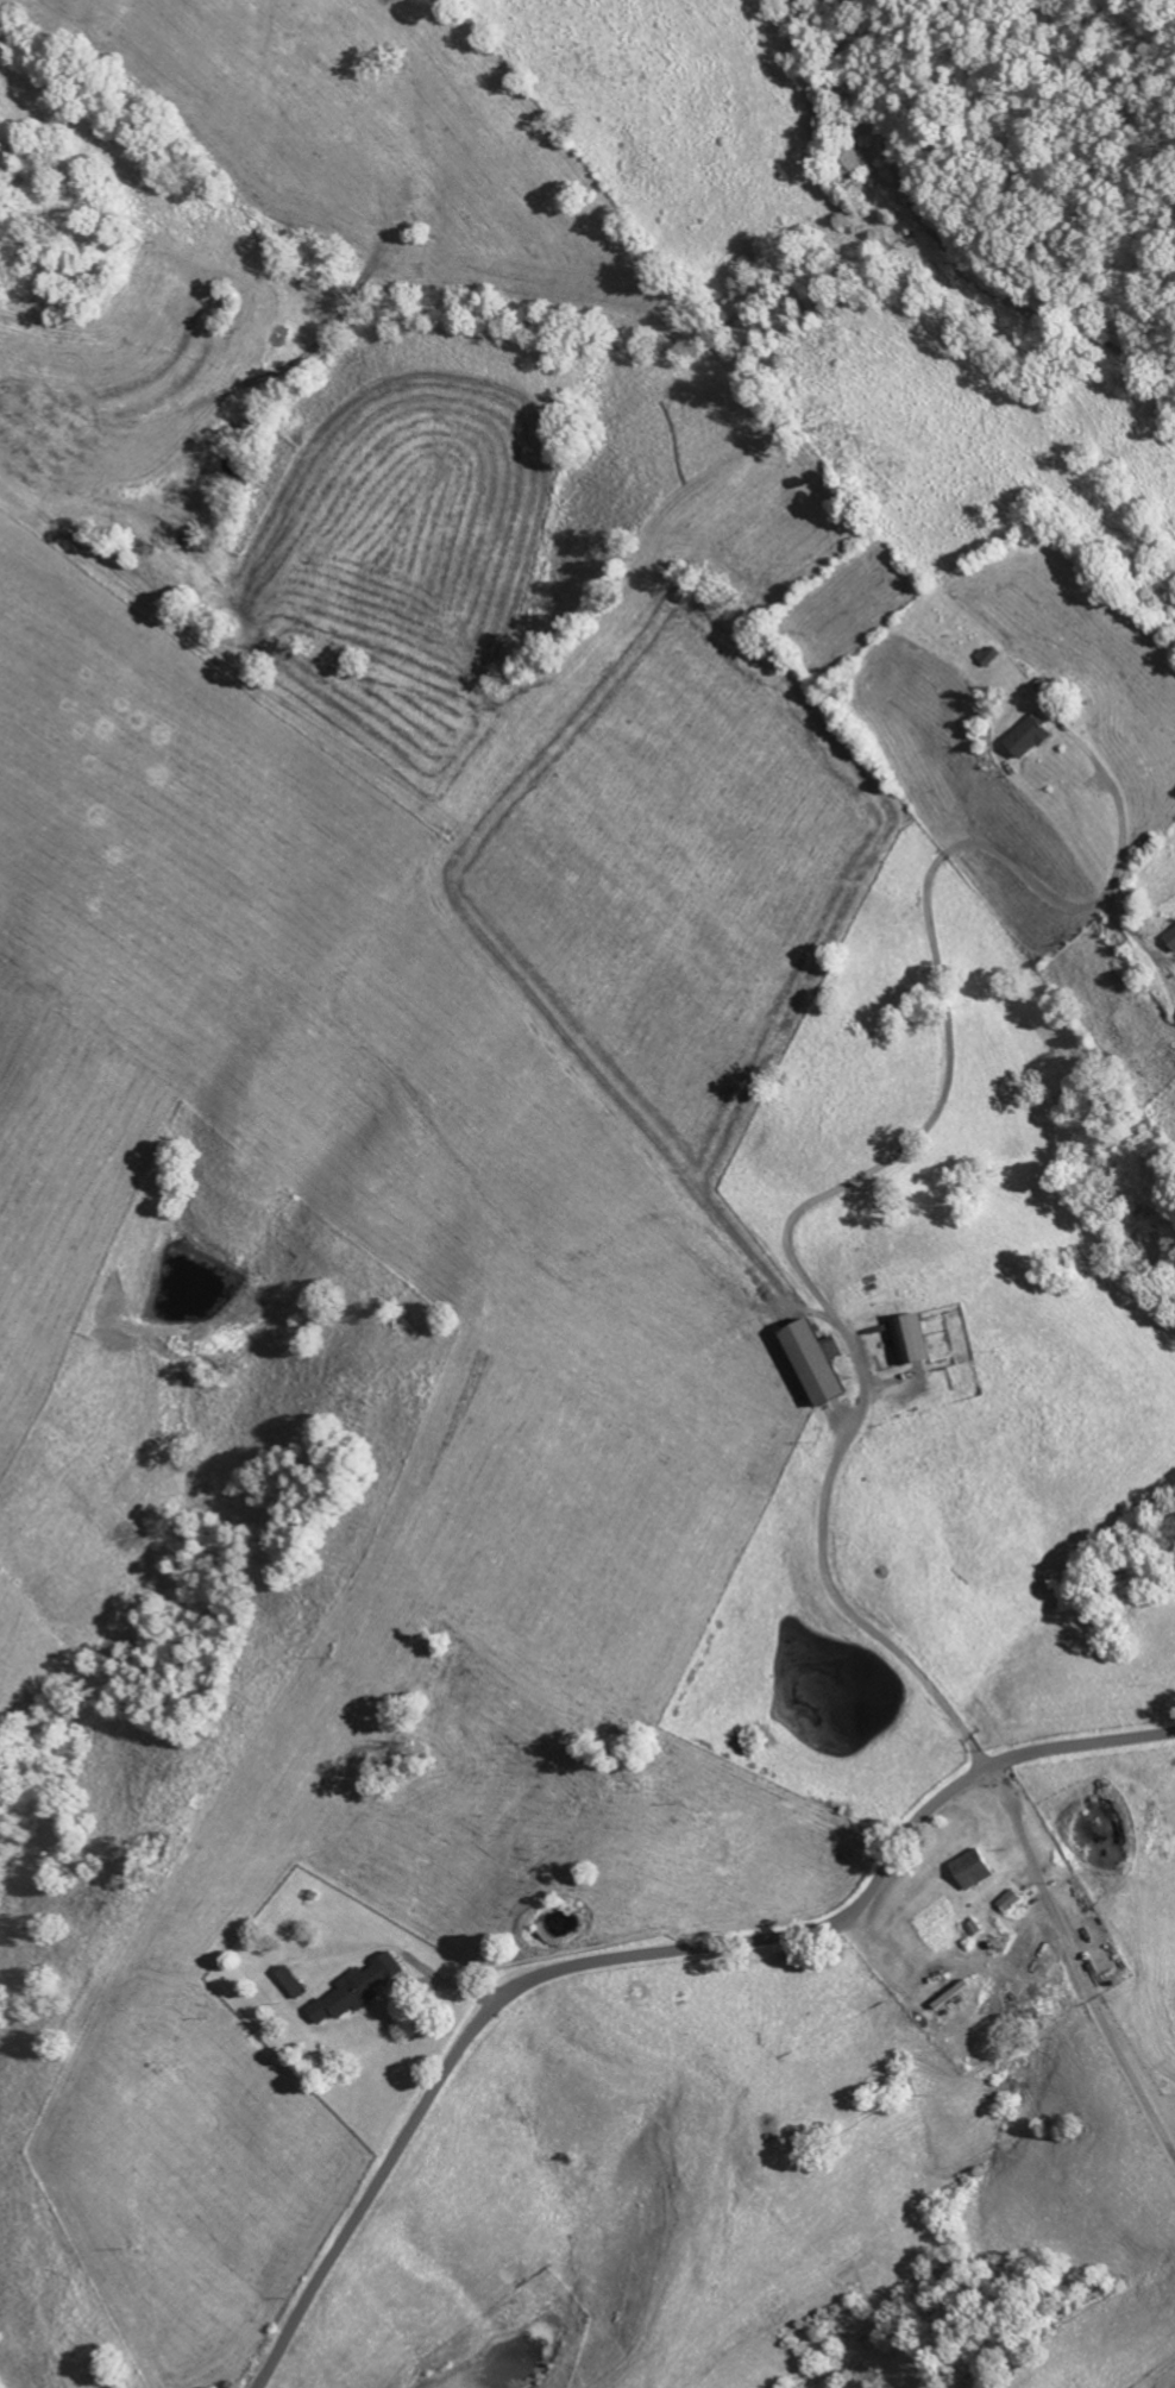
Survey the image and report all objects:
building: (1036, 737)
building: (1174, 936)
building: (922, 1341)
building: (829, 1365)
road: (831, 1575)
road: (279, 1617)
building: (980, 1869)
building: (1016, 1900)
road: (643, 1955)
building: (300, 1982)
building: (364, 1990)

